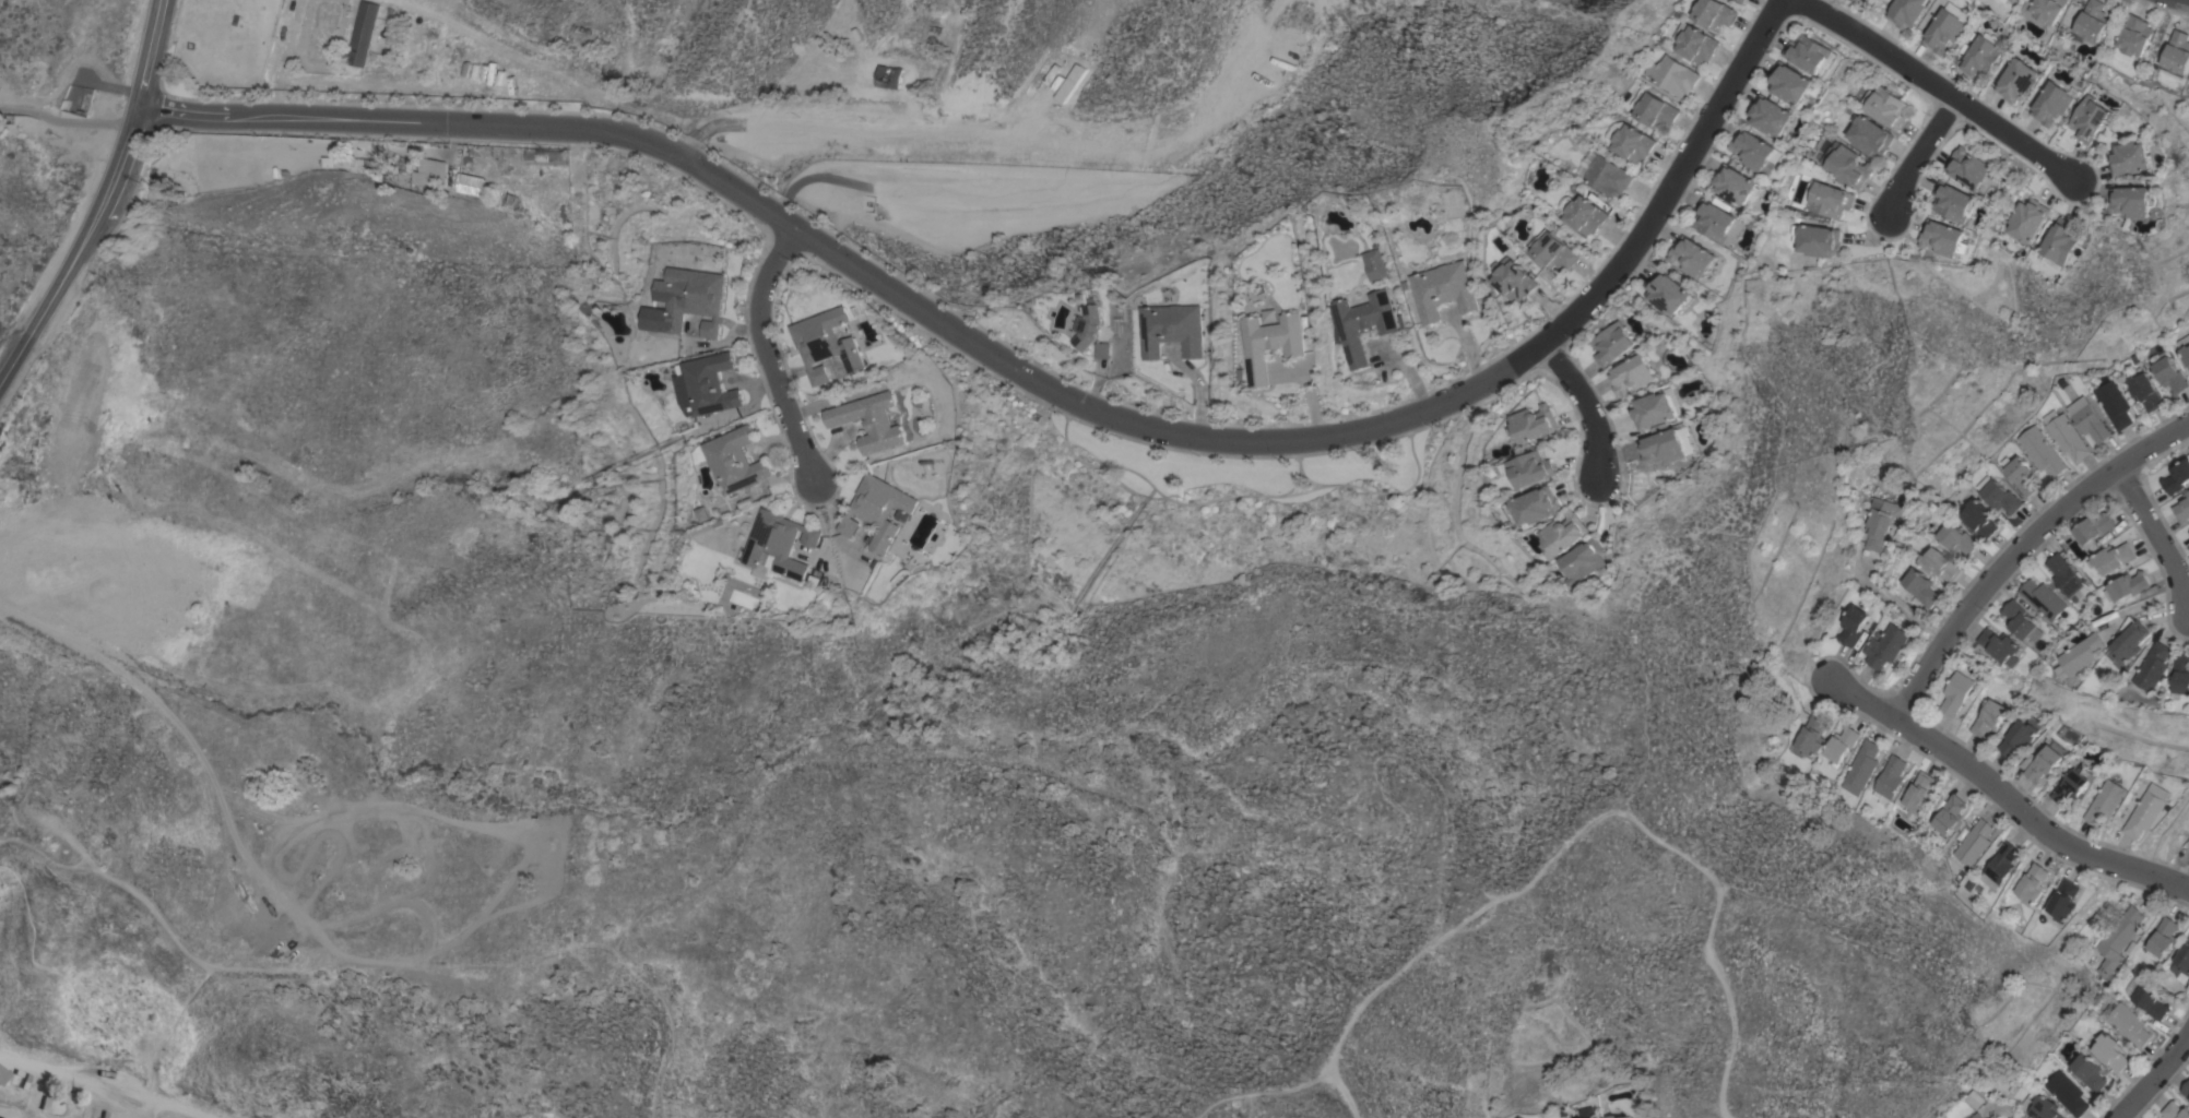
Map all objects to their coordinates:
building: (1857, 0)
building: (1859, 0)
building: (2012, 0)
building: (1740, 1)
road: (2180, 3)
building: (2043, 11)
building: (1907, 12)
building: (1713, 13)
building: (2091, 22)
building: (1947, 27)
building: (364, 34)
building: (2132, 38)
building: (1693, 43)
building: (405, 45)
building: (1810, 53)
building: (1983, 55)
building: (2176, 56)
building: (1671, 75)
building: (888, 76)
building: (2016, 80)
building: (1790, 82)
building: (1068, 83)
road: (1939, 91)
building: (2054, 103)
building: (1884, 106)
road: (188, 107)
road: (19, 108)
building: (1652, 108)
building: (1770, 115)
road: (237, 117)
building: (2090, 118)
road: (84, 122)
road: (174, 123)
building: (1869, 134)
building: (1628, 140)
building: (1756, 152)
building: (545, 156)
road: (1918, 156)
building: (2131, 157)
building: (366, 162)
building: (1845, 164)
building: (1973, 170)
building: (427, 173)
building: (1604, 174)
building: (469, 185)
building: (1734, 185)
building: (1825, 198)
building: (1955, 201)
building: (2135, 201)
road: (103, 202)
building: (1582, 213)
building: (2030, 219)
building: (1717, 221)
building: (1945, 238)
building: (1818, 239)
building: (2060, 242)
building: (1552, 249)
building: (1692, 257)
building: (1374, 264)
building: (1513, 278)
building: (1443, 289)
building: (1668, 292)
building: (695, 299)
building: (1269, 316)
building: (1364, 323)
building: (1090, 324)
building: (1175, 329)
building: (824, 343)
building: (1271, 343)
building: (1611, 344)
building: (2184, 348)
building: (1103, 350)
road: (768, 354)
building: (1631, 374)
building: (2169, 374)
building: (703, 384)
building: (2143, 391)
building: (2111, 402)
road: (1578, 408)
building: (1654, 408)
building: (868, 420)
road: (1126, 423)
building: (1534, 423)
building: (2090, 423)
building: (2063, 433)
building: (1664, 445)
building: (2039, 451)
building: (734, 460)
building: (1527, 468)
building: (2021, 475)
building: (2177, 477)
building: (2000, 497)
building: (1533, 506)
building: (2182, 508)
building: (877, 510)
building: (1978, 519)
building: (1881, 522)
building: (2093, 527)
building: (1560, 534)
road: (2153, 535)
building: (1959, 538)
building: (777, 546)
road: (2015, 546)
building: (2113, 557)
building: (1578, 561)
building: (1938, 564)
building: (2064, 574)
building: (1920, 586)
building: (2127, 586)
building: (689, 587)
building: (2044, 599)
road: (1896, 606)
building: (2022, 621)
building: (1850, 626)
building: (2130, 642)
building: (1884, 645)
building: (2001, 645)
building: (2082, 656)
building: (2155, 666)
building: (2182, 676)
building: (1955, 692)
building: (1988, 718)
building: (2019, 736)
building: (1807, 737)
building: (1839, 742)
building: (2045, 762)
building: (1859, 766)
building: (1890, 776)
building: (2071, 785)
building: (1919, 792)
road: (2005, 794)
building: (2105, 801)
building: (2145, 810)
building: (1949, 814)
building: (1974, 842)
building: (1999, 865)
building: (2032, 883)
building: (2063, 900)
building: (2164, 937)
building: (2118, 939)
building: (2181, 960)
building: (2151, 1001)
building: (2126, 1022)
building: (2109, 1052)
power tower: (1974, 1067)
building: (2087, 1072)
building: (2, 1074)
road: (2156, 1080)
road: (108, 1084)
building: (2186, 1089)
building: (2066, 1093)
road: (118, 1105)
building: (2039, 1106)
road: (147, 1107)
building: (2176, 1110)
building: (1610, 1116)
building: (1975, 1116)
building: (1581, 1117)
building: (1593, 1117)
building: (1623, 1117)

